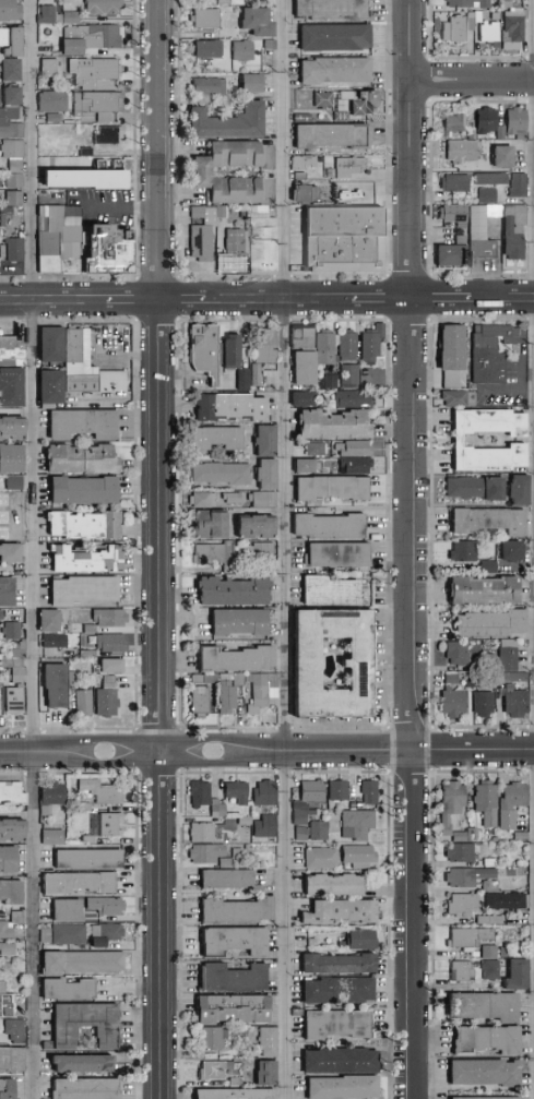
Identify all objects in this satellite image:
building: (225, 2)
building: (468, 2)
building: (100, 5)
building: (328, 8)
building: (9, 10)
building: (45, 13)
building: (68, 16)
building: (471, 17)
building: (207, 20)
building: (259, 24)
building: (510, 27)
building: (452, 28)
building: (487, 31)
building: (94, 35)
building: (332, 35)
building: (9, 40)
building: (69, 46)
building: (272, 46)
building: (210, 51)
building: (245, 52)
building: (46, 65)
building: (8, 68)
building: (332, 69)
building: (93, 70)
road: (474, 80)
building: (253, 85)
building: (210, 87)
building: (9, 94)
building: (321, 98)
building: (50, 100)
building: (360, 100)
building: (96, 103)
building: (483, 119)
building: (452, 121)
building: (513, 121)
building: (10, 122)
building: (228, 122)
building: (106, 132)
building: (328, 134)
building: (11, 147)
building: (461, 148)
road: (416, 150)
building: (499, 155)
building: (302, 162)
building: (346, 166)
building: (203, 175)
building: (79, 177)
building: (489, 177)
building: (452, 181)
building: (515, 183)
building: (302, 192)
building: (485, 194)
building: (12, 196)
road: (111, 205)
road: (146, 206)
building: (223, 213)
building: (452, 213)
building: (479, 230)
building: (514, 231)
building: (203, 235)
building: (264, 242)
building: (344, 246)
building: (12, 248)
building: (50, 250)
building: (74, 251)
building: (236, 253)
building: (451, 258)
building: (116, 259)
road: (442, 300)
road: (501, 300)
road: (134, 301)
road: (183, 301)
road: (310, 301)
road: (54, 302)
building: (306, 337)
building: (52, 344)
building: (373, 344)
building: (268, 346)
building: (349, 346)
building: (327, 348)
building: (206, 350)
building: (13, 351)
building: (234, 351)
building: (491, 354)
building: (453, 356)
building: (88, 367)
building: (307, 368)
building: (258, 375)
road: (287, 375)
building: (351, 375)
building: (329, 383)
building: (12, 387)
building: (52, 389)
road: (507, 389)
building: (305, 399)
building: (353, 399)
building: (460, 399)
building: (233, 408)
building: (85, 425)
building: (335, 425)
building: (13, 428)
building: (219, 439)
building: (459, 441)
building: (268, 442)
building: (317, 449)
building: (355, 449)
building: (12, 458)
building: (83, 459)
building: (306, 466)
building: (357, 466)
building: (224, 474)
building: (269, 475)
building: (15, 483)
building: (334, 489)
building: (477, 489)
building: (85, 490)
building: (521, 491)
building: (235, 499)
building: (3, 500)
building: (17, 500)
building: (264, 500)
building: (204, 501)
building: (490, 522)
building: (210, 525)
building: (17, 526)
building: (87, 526)
road: (414, 526)
building: (259, 527)
building: (331, 527)
road: (34, 549)
road: (162, 549)
building: (513, 551)
building: (263, 552)
building: (465, 552)
building: (11, 553)
building: (210, 554)
building: (340, 556)
building: (87, 560)
building: (490, 568)
building: (233, 570)
building: (84, 590)
building: (486, 590)
building: (8, 593)
building: (236, 593)
building: (332, 593)
building: (1, 616)
building: (110, 618)
building: (51, 622)
building: (241, 623)
building: (493, 624)
building: (91, 630)
building: (13, 632)
building: (52, 642)
building: (114, 644)
building: (459, 654)
building: (90, 655)
building: (510, 656)
building: (238, 659)
building: (16, 661)
building: (359, 665)
building: (114, 667)
building: (74, 679)
building: (206, 679)
building: (239, 679)
building: (512, 679)
building: (453, 680)
building: (473, 683)
building: (57, 686)
building: (263, 691)
building: (109, 698)
building: (229, 698)
building: (16, 702)
building: (201, 702)
building: (517, 702)
building: (85, 704)
building: (454, 704)
building: (485, 704)
building: (1, 706)
road: (473, 751)
road: (206, 752)
building: (336, 789)
building: (234, 791)
building: (367, 791)
building: (10, 792)
building: (198, 792)
building: (263, 792)
building: (106, 793)
building: (306, 799)
building: (484, 801)
building: (509, 802)
building: (449, 803)
building: (215, 808)
building: (109, 823)
building: (355, 823)
building: (263, 825)
building: (317, 829)
building: (9, 831)
building: (200, 832)
building: (300, 832)
building: (49, 835)
building: (459, 851)
building: (203, 852)
building: (357, 855)
building: (7, 858)
building: (84, 858)
building: (319, 858)
building: (466, 875)
building: (223, 879)
building: (74, 883)
building: (330, 884)
building: (488, 885)
building: (9, 891)
building: (505, 899)
building: (461, 903)
building: (104, 905)
building: (63, 909)
building: (235, 910)
building: (337, 910)
building: (14, 916)
road: (290, 924)
road: (414, 924)
building: (5, 929)
building: (104, 931)
building: (67, 933)
building: (43, 934)
building: (467, 935)
building: (357, 939)
building: (230, 940)
building: (5, 946)
building: (487, 951)
building: (79, 961)
building: (335, 964)
building: (489, 969)
building: (460, 970)
building: (514, 975)
building: (230, 978)
building: (63, 989)
building: (334, 990)
building: (480, 1005)
building: (229, 1008)
building: (83, 1023)
building: (332, 1024)
building: (13, 1029)
building: (211, 1038)
building: (485, 1039)
building: (266, 1041)
building: (10, 1059)
building: (337, 1061)
building: (78, 1064)
building: (215, 1068)
building: (263, 1072)
building: (482, 1072)
building: (339, 1087)
building: (5, 1088)
building: (82, 1088)
building: (232, 1094)
building: (484, 1097)

